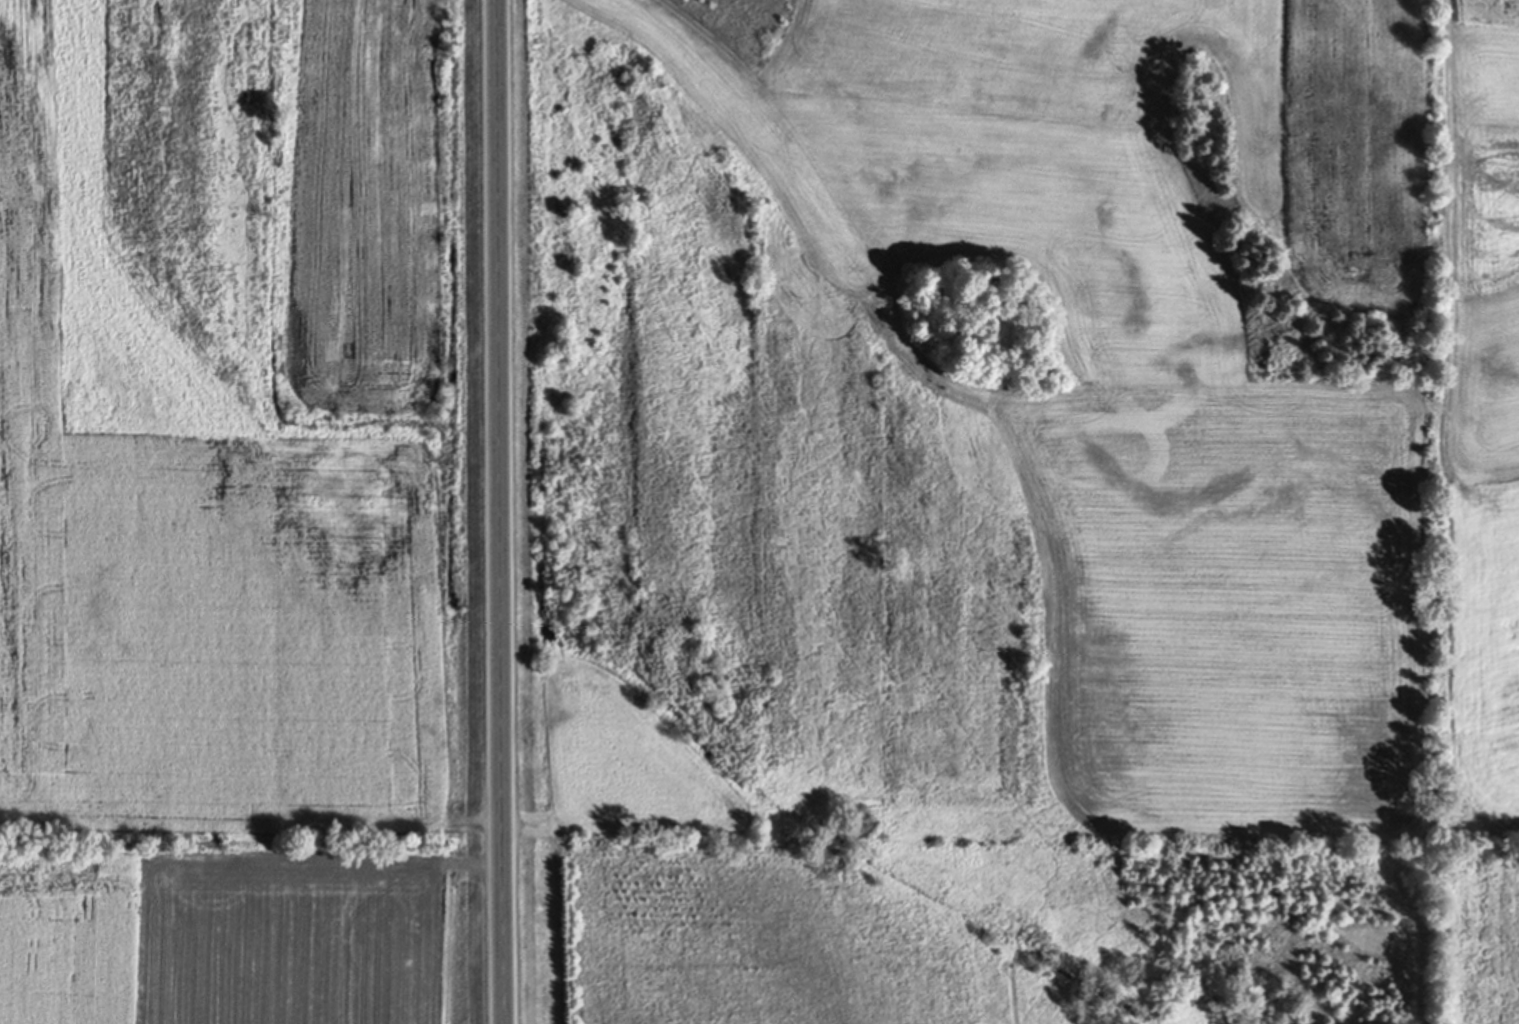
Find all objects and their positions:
road: (500, 512)

